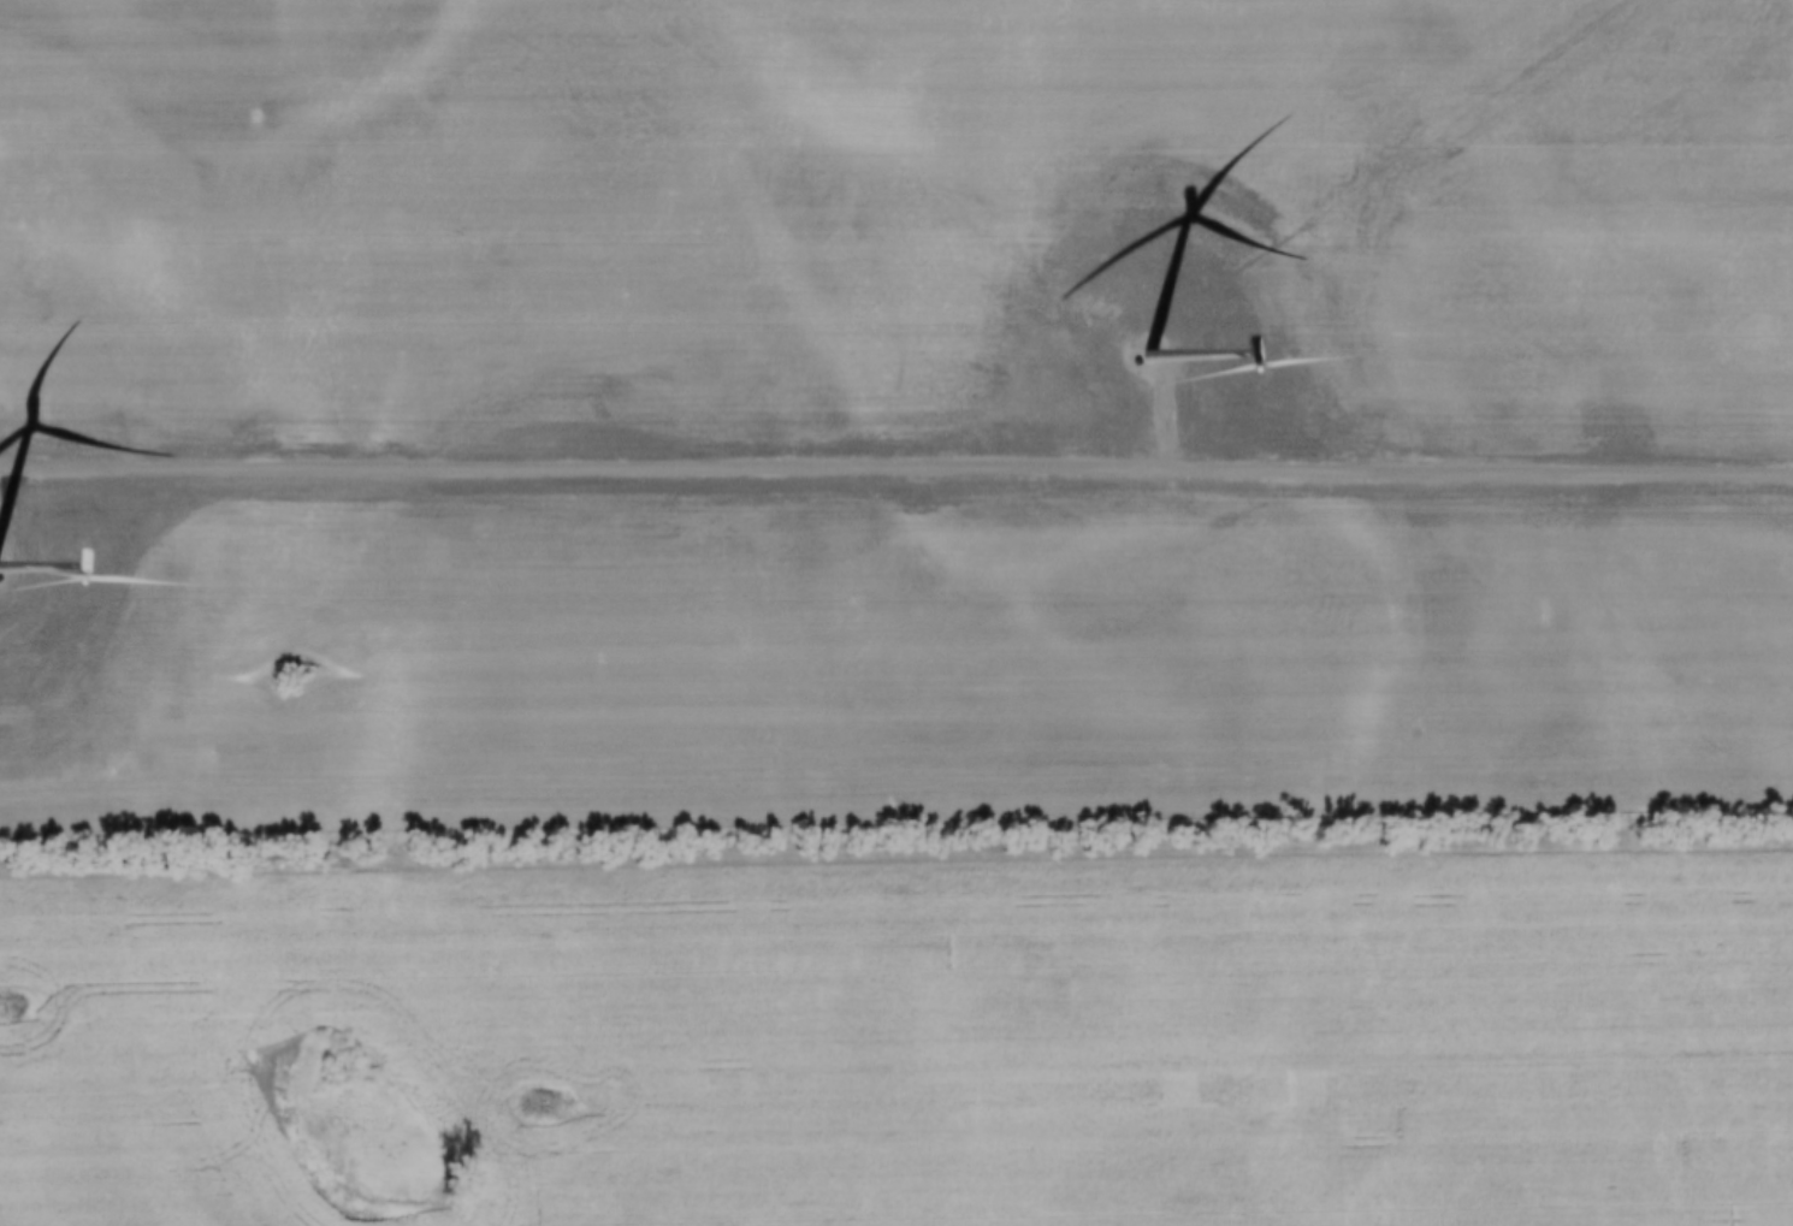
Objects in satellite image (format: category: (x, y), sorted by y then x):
wind turbine: (1160, 354)
wind turbine: (0, 567)

